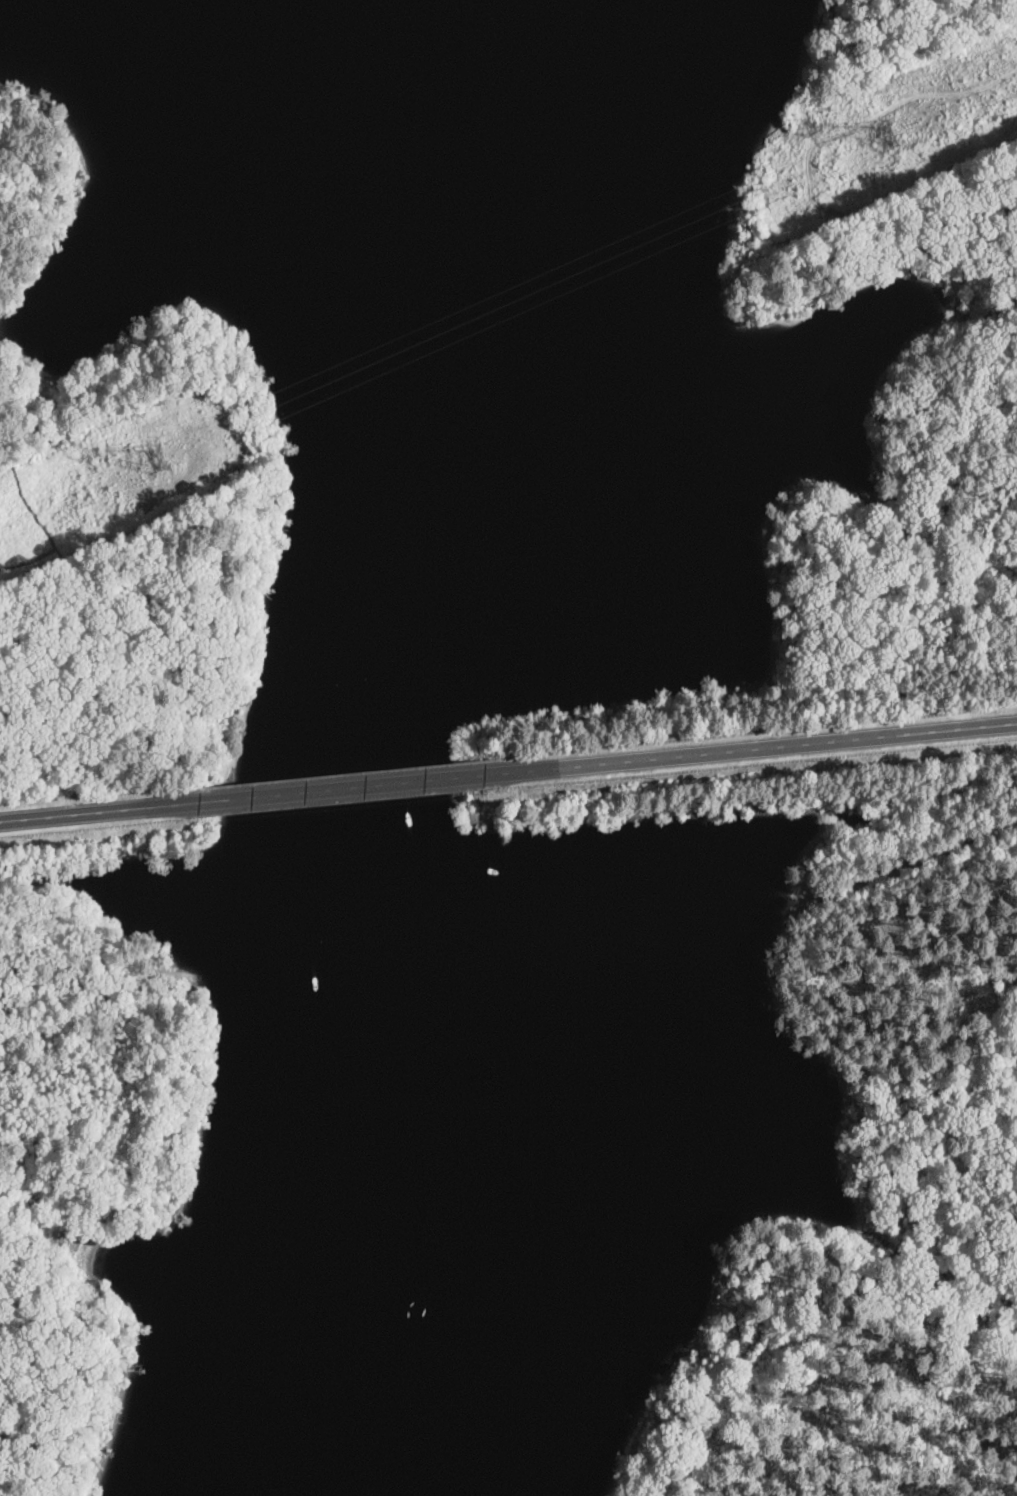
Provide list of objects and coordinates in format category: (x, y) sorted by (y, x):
river: (307, 104)
power tower: (889, 137)
road: (122, 643)
road: (754, 747)
road: (342, 788)
road: (101, 811)
road: (5, 820)
river: (367, 871)

